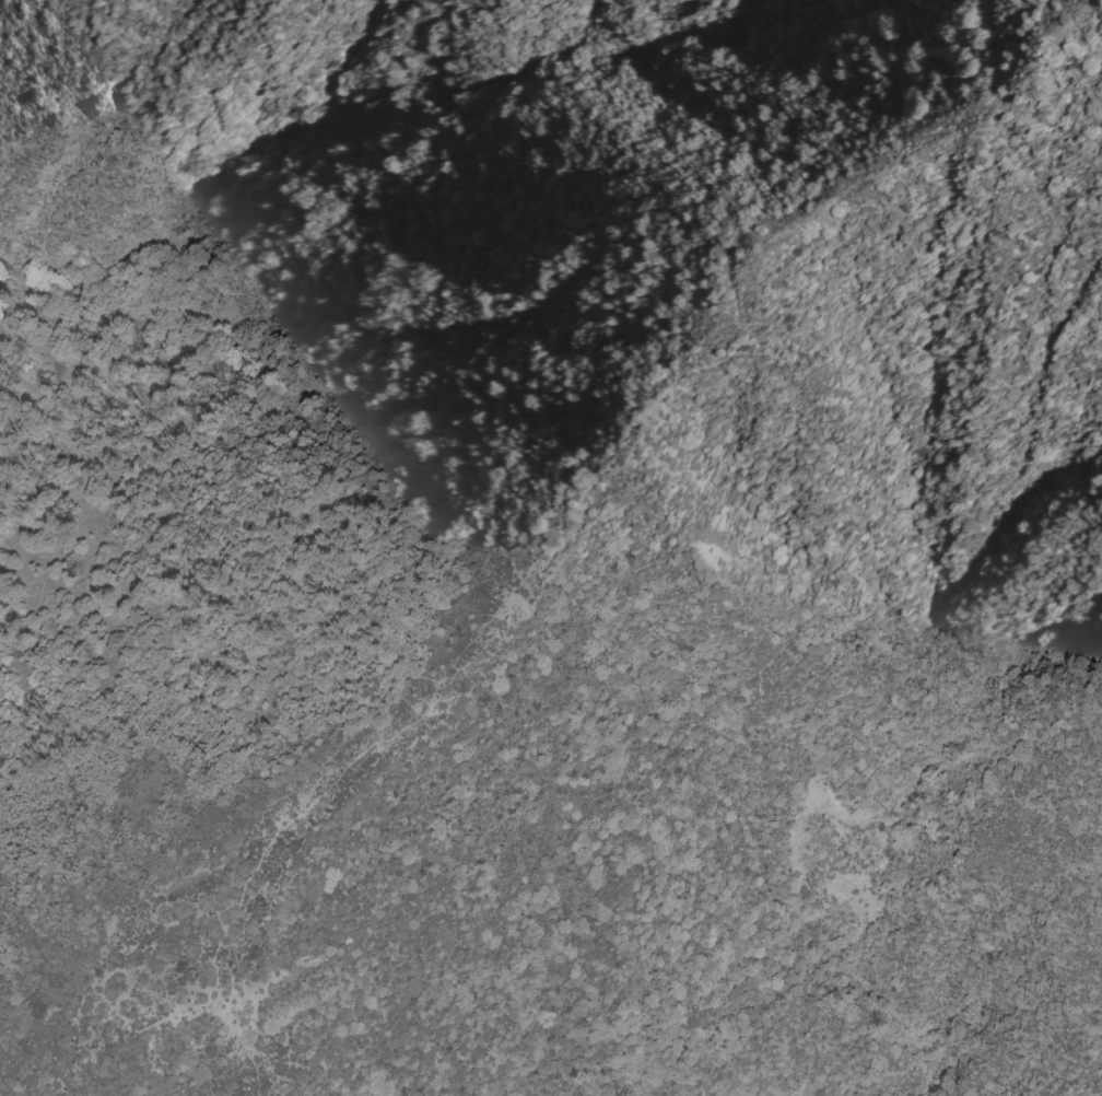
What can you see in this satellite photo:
road: (581, 522)
road: (237, 601)

